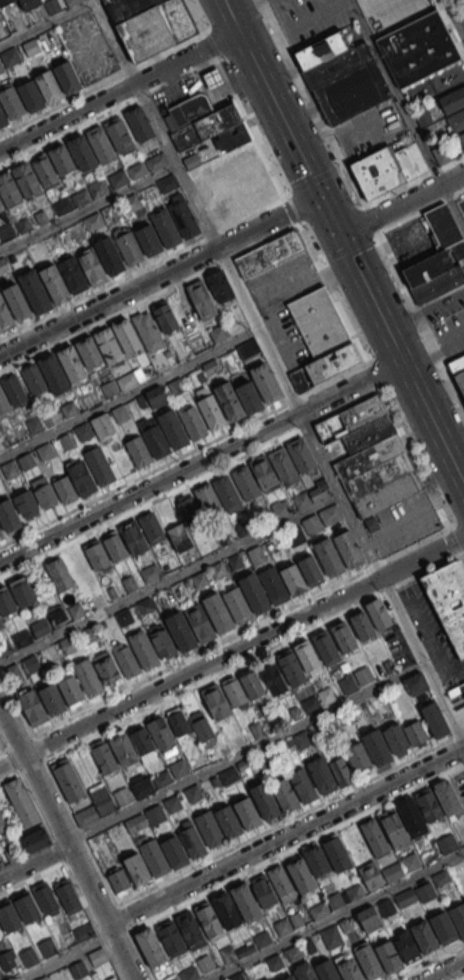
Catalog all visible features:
building: (6, 2)
building: (72, 2)
building: (30, 4)
road: (239, 4)
building: (52, 6)
road: (457, 11)
building: (0, 12)
building: (0, 13)
parking lot: (311, 19)
road: (46, 22)
building: (152, 25)
road: (450, 27)
road: (115, 41)
building: (419, 48)
building: (10, 57)
building: (1, 68)
building: (69, 74)
building: (342, 77)
building: (213, 79)
building: (50, 84)
road: (103, 85)
road: (119, 90)
road: (394, 92)
building: (32, 93)
building: (453, 99)
building: (13, 101)
road: (109, 110)
building: (192, 110)
road: (319, 115)
building: (422, 116)
building: (141, 123)
building: (208, 127)
building: (120, 134)
building: (235, 136)
building: (461, 138)
building: (84, 150)
building: (191, 160)
building: (147, 165)
building: (387, 168)
building: (118, 178)
building: (28, 179)
road: (413, 179)
building: (168, 183)
building: (10, 189)
building: (81, 197)
traffic signals: (319, 197)
building: (130, 203)
road: (400, 204)
building: (63, 205)
road: (88, 208)
road: (452, 208)
road: (421, 210)
building: (186, 217)
building: (93, 221)
building: (167, 227)
traffic signals: (338, 236)
building: (148, 239)
building: (0, 242)
road: (342, 245)
building: (131, 247)
building: (268, 253)
building: (111, 254)
building: (438, 258)
road: (143, 267)
building: (94, 268)
building: (74, 273)
road: (159, 277)
road: (324, 280)
building: (56, 283)
building: (219, 285)
building: (37, 291)
road: (148, 298)
building: (201, 299)
building: (18, 301)
building: (164, 316)
road: (421, 317)
building: (150, 332)
building: (220, 333)
building: (128, 335)
building: (320, 337)
building: (91, 351)
building: (72, 360)
building: (459, 368)
building: (56, 374)
building: (35, 379)
building: (112, 388)
road: (129, 395)
building: (156, 396)
building: (252, 396)
building: (3, 401)
building: (70, 409)
building: (214, 412)
road: (300, 412)
building: (122, 413)
building: (36, 425)
building: (103, 427)
building: (175, 428)
building: (85, 432)
building: (155, 437)
building: (140, 451)
building: (46, 452)
road: (182, 454)
building: (302, 454)
building: (370, 455)
building: (28, 461)
road: (200, 462)
building: (284, 464)
building: (101, 466)
building: (11, 470)
building: (266, 473)
building: (84, 479)
road: (189, 484)
building: (247, 484)
building: (43, 491)
building: (319, 492)
building: (229, 494)
building: (209, 499)
building: (26, 504)
building: (189, 508)
building: (280, 508)
building: (10, 515)
building: (321, 519)
building: (371, 524)
building: (243, 528)
building: (0, 534)
building: (294, 536)
building: (135, 537)
building: (180, 537)
building: (114, 545)
building: (348, 548)
building: (98, 554)
building: (256, 555)
building: (330, 556)
building: (310, 569)
building: (218, 570)
building: (150, 573)
building: (60, 574)
road: (170, 578)
building: (200, 579)
building: (293, 579)
building: (257, 593)
building: (449, 601)
building: (220, 613)
building: (378, 613)
building: (125, 616)
building: (58, 618)
building: (1, 623)
building: (362, 625)
building: (40, 627)
building: (183, 631)
road: (227, 637)
building: (22, 638)
building: (346, 639)
building: (68, 644)
building: (5, 648)
building: (328, 648)
building: (145, 649)
road: (232, 652)
building: (309, 657)
building: (128, 662)
building: (30, 664)
building: (292, 667)
building: (107, 668)
building: (13, 672)
building: (365, 676)
building: (90, 677)
building: (272, 677)
building: (463, 682)
building: (251, 683)
building: (415, 683)
building: (350, 684)
building: (70, 688)
building: (234, 692)
road: (181, 693)
building: (327, 696)
building: (54, 699)
road: (16, 702)
building: (218, 702)
building: (34, 706)
building: (312, 706)
building: (434, 718)
building: (177, 720)
building: (203, 728)
building: (161, 732)
road: (3, 740)
building: (303, 740)
building: (1, 744)
road: (38, 747)
building: (125, 749)
road: (247, 752)
road: (11, 757)
building: (103, 757)
building: (358, 757)
building: (180, 769)
building: (329, 773)
building: (228, 776)
building: (162, 779)
building: (69, 780)
building: (144, 786)
building: (304, 786)
building: (195, 793)
building: (285, 794)
building: (122, 796)
building: (449, 797)
building: (266, 802)
building: (23, 803)
building: (174, 805)
building: (430, 806)
road: (37, 808)
building: (249, 814)
building: (157, 815)
building: (412, 815)
building: (88, 816)
building: (229, 822)
building: (2, 825)
road: (276, 825)
building: (395, 827)
building: (211, 829)
building: (375, 836)
road: (286, 839)
building: (193, 840)
building: (34, 841)
road: (70, 842)
building: (447, 843)
building: (177, 853)
building: (12, 854)
building: (338, 855)
building: (157, 859)
road: (271, 859)
building: (318, 861)
road: (35, 862)
building: (410, 862)
building: (138, 869)
building: (393, 871)
building: (371, 875)
building: (302, 876)
building: (118, 879)
building: (282, 882)
road: (77, 889)
building: (354, 891)
building: (265, 892)
building: (68, 894)
building: (47, 897)
building: (245, 900)
building: (335, 900)
building: (28, 906)
building: (386, 907)
building: (318, 910)
building: (228, 911)
road: (337, 915)
building: (10, 916)
building: (458, 918)
building: (210, 919)
building: (369, 919)
building: (283, 926)
building: (443, 927)
building: (192, 931)
building: (83, 932)
building: (424, 936)
building: (331, 937)
building: (245, 946)
building: (152, 947)
building: (406, 947)
building: (49, 948)
building: (293, 952)
building: (388, 955)
road: (66, 957)
building: (99, 957)
building: (30, 958)
building: (7, 959)
road: (427, 961)
building: (368, 963)
building: (205, 964)
building: (79, 969)
building: (350, 969)
road: (445, 970)
building: (328, 971)
building: (306, 972)
building: (186, 974)
building: (236, 976)
building: (289, 977)
building: (42, 978)
building: (114, 978)
road: (461, 978)
building: (119, 979)
building: (270, 979)

